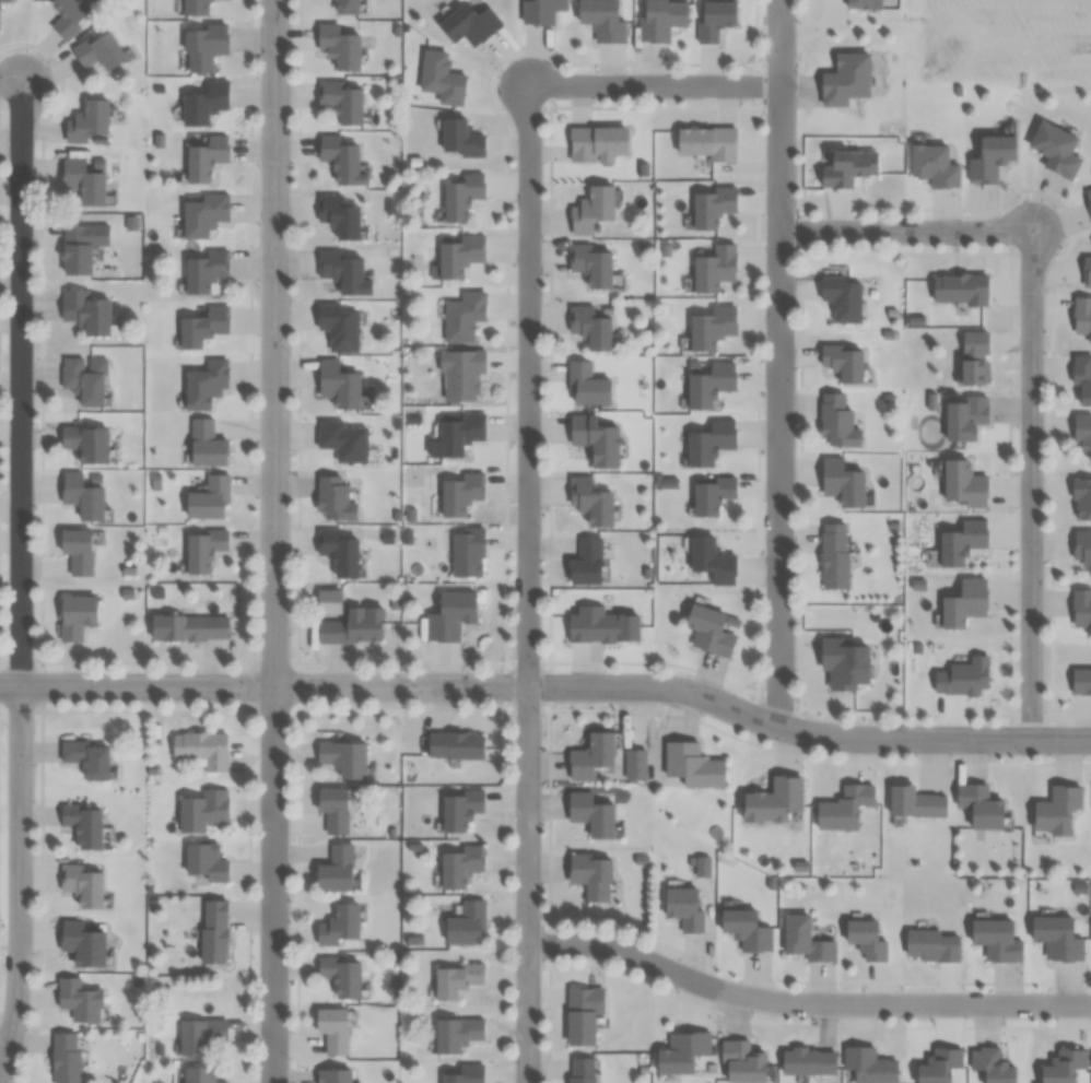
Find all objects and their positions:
building: (5, 0)
building: (192, 7)
building: (343, 7)
building: (540, 10)
building: (68, 15)
building: (660, 19)
building: (713, 19)
building: (600, 20)
building: (468, 22)
building: (202, 46)
building: (337, 47)
building: (96, 50)
building: (845, 79)
road: (11, 83)
road: (654, 85)
building: (339, 101)
building: (203, 103)
building: (85, 121)
building: (460, 139)
building: (706, 142)
building: (596, 144)
building: (1054, 149)
building: (206, 157)
building: (989, 157)
building: (338, 161)
building: (932, 165)
building: (847, 167)
building: (81, 179)
building: (461, 197)
building: (1088, 199)
building: (712, 207)
building: (590, 209)
building: (201, 213)
building: (338, 216)
road: (906, 229)
building: (73, 250)
building: (458, 255)
building: (589, 264)
building: (713, 268)
building: (202, 270)
building: (339, 271)
building: (1086, 271)
building: (959, 289)
building: (842, 297)
building: (84, 311)
building: (462, 316)
building: (1081, 316)
building: (588, 326)
building: (201, 327)
building: (338, 327)
building: (711, 327)
building: (973, 357)
building: (843, 362)
road: (781, 363)
building: (459, 373)
building: (84, 379)
building: (1081, 380)
building: (203, 385)
building: (336, 385)
building: (585, 385)
building: (709, 385)
building: (963, 414)
building: (835, 422)
building: (456, 434)
building: (1081, 435)
building: (594, 439)
building: (341, 440)
building: (84, 443)
building: (709, 443)
building: (204, 444)
building: (841, 482)
building: (961, 484)
road: (1032, 484)
building: (459, 492)
building: (81, 495)
building: (711, 495)
building: (208, 498)
building: (333, 498)
building: (1080, 498)
building: (589, 502)
road: (274, 541)
building: (961, 541)
building: (75, 550)
building: (202, 550)
building: (468, 550)
building: (338, 552)
building: (833, 554)
building: (709, 558)
building: (586, 562)
road: (22, 584)
road: (528, 584)
building: (961, 603)
building: (1080, 610)
building: (450, 615)
building: (74, 616)
building: (600, 625)
building: (187, 627)
building: (349, 628)
building: (707, 631)
building: (843, 659)
building: (961, 676)
building: (1079, 680)
road: (549, 687)
building: (455, 745)
building: (201, 749)
building: (590, 755)
building: (85, 758)
building: (342, 758)
building: (635, 764)
building: (692, 764)
building: (912, 803)
building: (976, 807)
building: (842, 808)
building: (332, 809)
building: (459, 809)
building: (1054, 810)
building: (200, 812)
building: (589, 813)
building: (82, 825)
building: (206, 862)
building: (459, 864)
building: (336, 870)
building: (590, 874)
building: (82, 883)
building: (682, 908)
building: (466, 923)
building: (340, 926)
building: (744, 929)
building: (213, 931)
building: (1056, 938)
building: (803, 939)
building: (864, 939)
building: (995, 940)
building: (81, 944)
building: (929, 945)
building: (340, 976)
building: (455, 978)
building: (80, 1000)
road: (803, 1003)
building: (580, 1013)
building: (332, 1029)
building: (456, 1033)
building: (201, 1035)
road: (5, 1036)
building: (680, 1052)
building: (64, 1058)
building: (806, 1061)
building: (740, 1062)
building: (989, 1064)
building: (867, 1066)
building: (937, 1066)
building: (1061, 1066)
building: (580, 1070)
building: (198, 1074)
building: (466, 1074)
building: (332, 1075)

